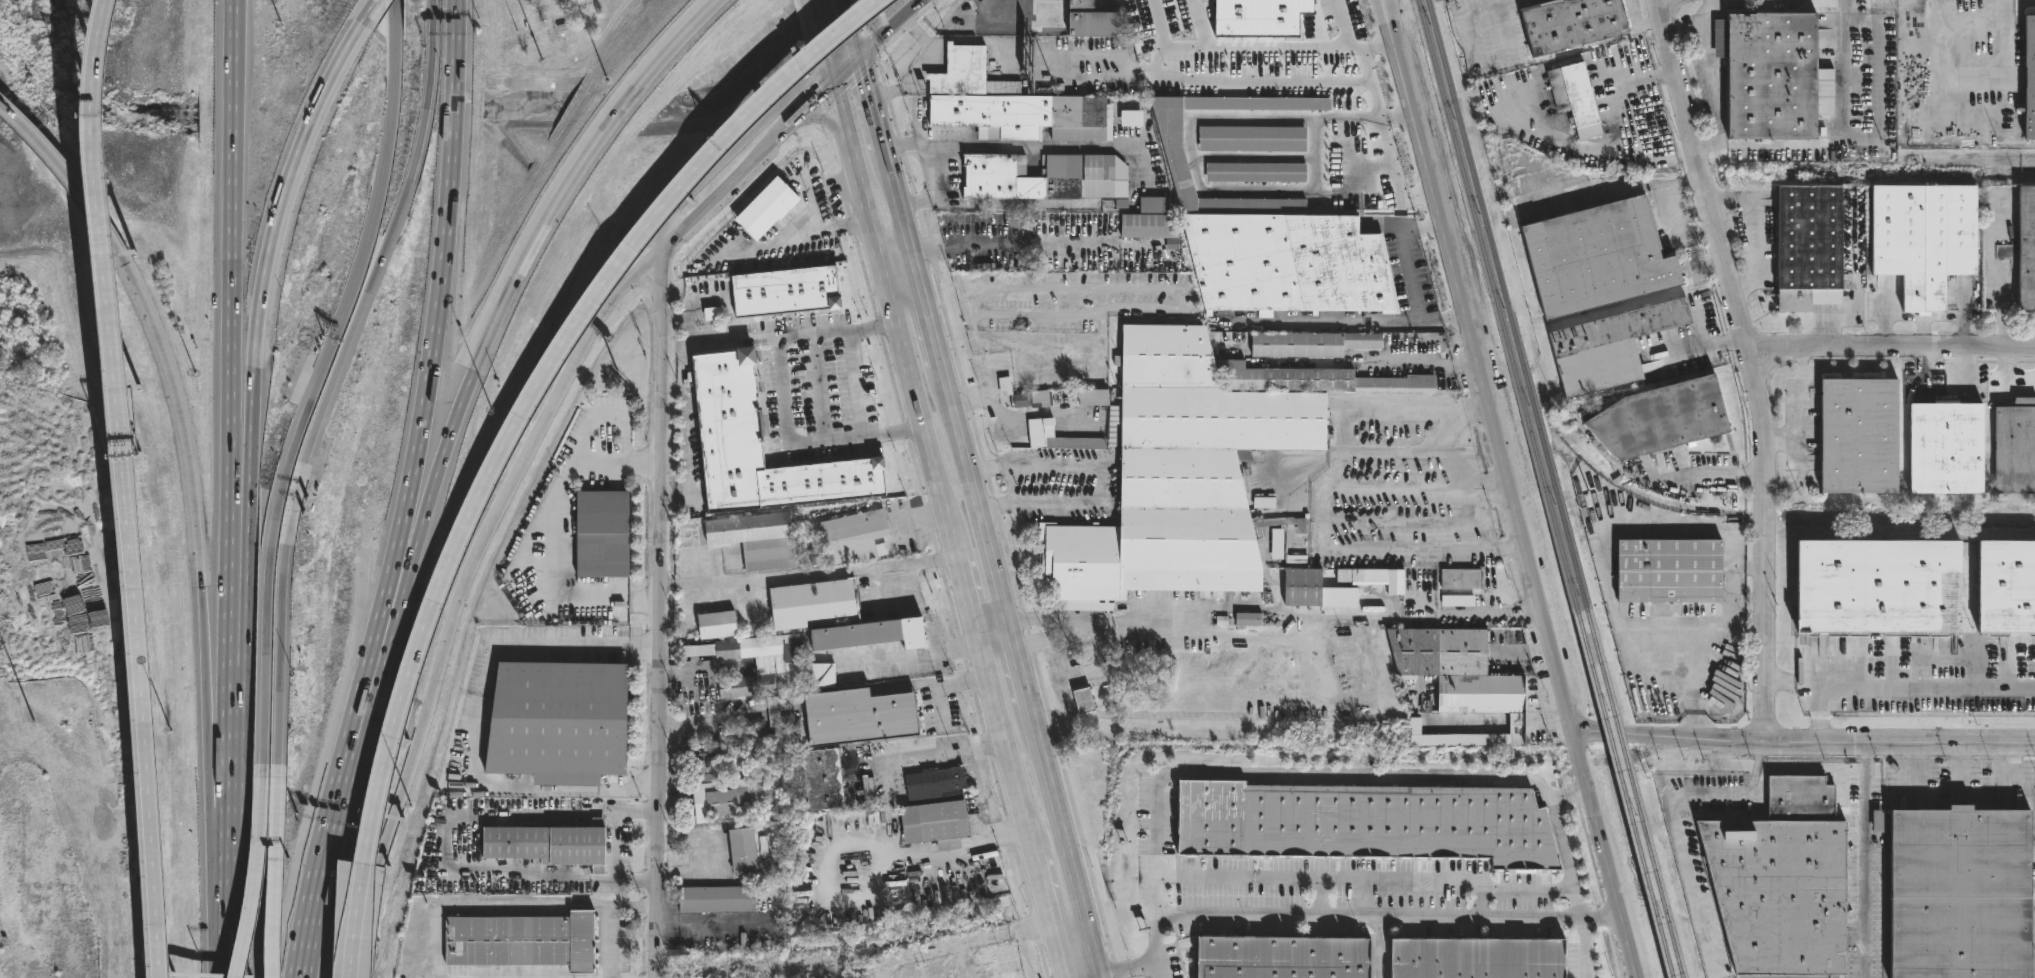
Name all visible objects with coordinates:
road: (1753, 6)
building: (1078, 17)
road: (846, 19)
building: (1310, 19)
building: (1198, 21)
building: (961, 24)
building: (1004, 24)
road: (1343, 24)
road: (1475, 24)
building: (1569, 25)
road: (819, 28)
road: (887, 29)
traffic signals: (852, 38)
road: (985, 39)
road: (2012, 42)
road: (839, 47)
road: (855, 49)
road: (932, 49)
traffic signals: (827, 57)
traffic signals: (858, 60)
road: (845, 70)
road: (1188, 70)
road: (1707, 70)
building: (2027, 75)
building: (1767, 76)
traffic signals: (833, 81)
road: (884, 94)
building: (1573, 94)
road: (816, 98)
building: (1012, 103)
road: (868, 106)
building: (1134, 118)
road: (1364, 118)
road: (827, 120)
road: (785, 129)
building: (1255, 138)
road: (1841, 143)
road: (1007, 145)
road: (734, 150)
road: (1612, 151)
road: (98, 160)
building: (1258, 172)
road: (66, 176)
building: (1089, 176)
road: (1390, 176)
road: (937, 193)
road: (715, 198)
road: (895, 199)
road: (1012, 204)
building: (763, 210)
building: (1148, 219)
building: (1289, 222)
road: (793, 236)
road: (390, 237)
building: (1923, 238)
building: (969, 239)
building: (1803, 245)
building: (2024, 247)
road: (894, 250)
road: (1402, 252)
building: (1595, 256)
road: (265, 260)
road: (523, 262)
road: (229, 271)
road: (1994, 273)
road: (439, 284)
building: (789, 291)
road: (908, 303)
railway: (1507, 304)
road: (925, 307)
railway: (1497, 307)
road: (893, 311)
road: (1441, 320)
road: (837, 333)
road: (723, 343)
building: (1316, 343)
building: (1603, 346)
road: (1703, 347)
road: (1893, 347)
road: (667, 348)
road: (1367, 361)
road: (1754, 365)
building: (1320, 379)
road: (854, 384)
road: (315, 386)
building: (1096, 396)
building: (1039, 399)
building: (1018, 402)
road: (1801, 411)
road: (1017, 418)
building: (1653, 418)
road: (686, 421)
road: (1346, 425)
road: (589, 428)
road: (511, 432)
building: (1852, 435)
building: (1064, 439)
road: (803, 443)
building: (764, 446)
building: (2013, 447)
building: (1940, 448)
toll booth: (125, 455)
road: (1454, 461)
road: (1715, 476)
building: (1181, 478)
road: (1799, 478)
road: (1099, 480)
road: (1485, 481)
road: (1512, 487)
road: (1371, 488)
road: (667, 496)
road: (683, 496)
road: (1487, 497)
road: (975, 500)
toll booth: (293, 502)
road: (292, 504)
road: (191, 505)
railway: (1766, 512)
road: (1703, 528)
building: (602, 533)
road: (552, 537)
building: (857, 537)
building: (759, 539)
road: (1496, 549)
road: (1392, 550)
building: (1669, 571)
road: (809, 576)
building: (1379, 579)
building: (1462, 579)
building: (1880, 585)
building: (2005, 587)
building: (1318, 590)
road: (968, 594)
road: (461, 596)
building: (810, 602)
building: (1456, 603)
road: (231, 605)
road: (241, 605)
road: (657, 615)
road: (990, 618)
building: (1252, 619)
building: (719, 625)
road: (1146, 627)
road: (1086, 628)
building: (866, 635)
road: (138, 649)
road: (372, 651)
road: (381, 653)
road: (279, 661)
building: (757, 664)
road: (1018, 668)
building: (1462, 671)
building: (820, 676)
road: (1900, 689)
building: (1081, 700)
road: (1819, 714)
building: (852, 716)
road: (708, 721)
building: (562, 722)
power tower: (32, 724)
road: (474, 724)
building: (750, 729)
road: (1005, 741)
road: (1803, 743)
road: (927, 756)
road: (233, 762)
building: (792, 764)
building: (704, 768)
road: (1259, 774)
building: (950, 779)
building: (826, 780)
railway: (1635, 793)
road: (977, 795)
railway: (1625, 796)
building: (732, 799)
road: (220, 810)
road: (622, 813)
building: (1364, 823)
building: (939, 824)
road: (1674, 827)
road: (1062, 838)
building: (546, 845)
road: (613, 847)
building: (745, 852)
road: (954, 852)
road: (322, 856)
road: (1865, 860)
road: (449, 869)
road: (256, 878)
road: (277, 878)
road: (1332, 879)
building: (1776, 883)
road: (1574, 887)
road: (1527, 888)
building: (1952, 894)
road: (1045, 898)
building: (718, 899)
road: (510, 907)
road: (1387, 914)
road: (232, 917)
road: (671, 919)
building: (524, 942)
road: (1380, 946)
road: (1061, 957)
building: (1282, 957)
building: (1476, 959)
building: (1003, 962)
road: (1154, 969)
building: (912, 972)
road: (1086, 975)
road: (1098, 975)
park: (1788, 976)

